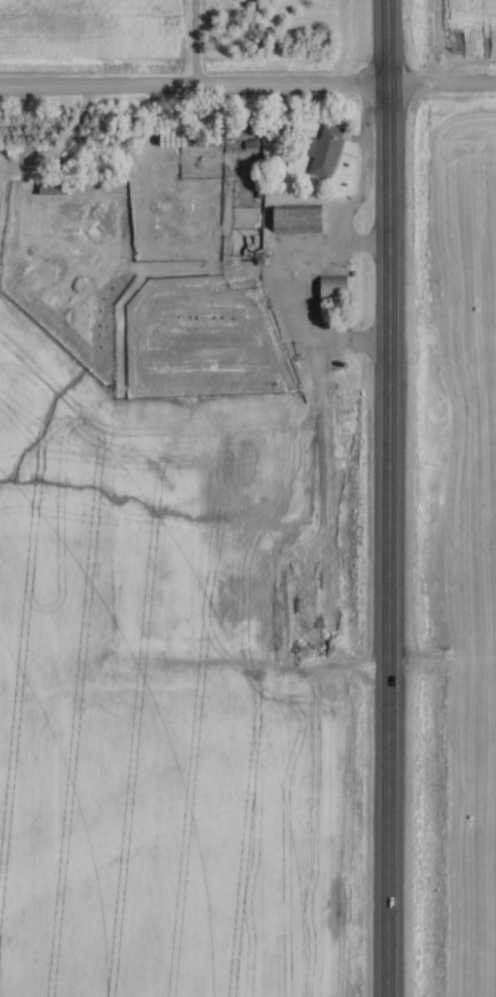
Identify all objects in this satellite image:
road: (192, 41)
road: (386, 41)
road: (441, 82)
road: (193, 83)
building: (203, 132)
building: (323, 151)
building: (49, 186)
building: (294, 218)
building: (330, 289)
road: (285, 292)
road: (386, 540)

